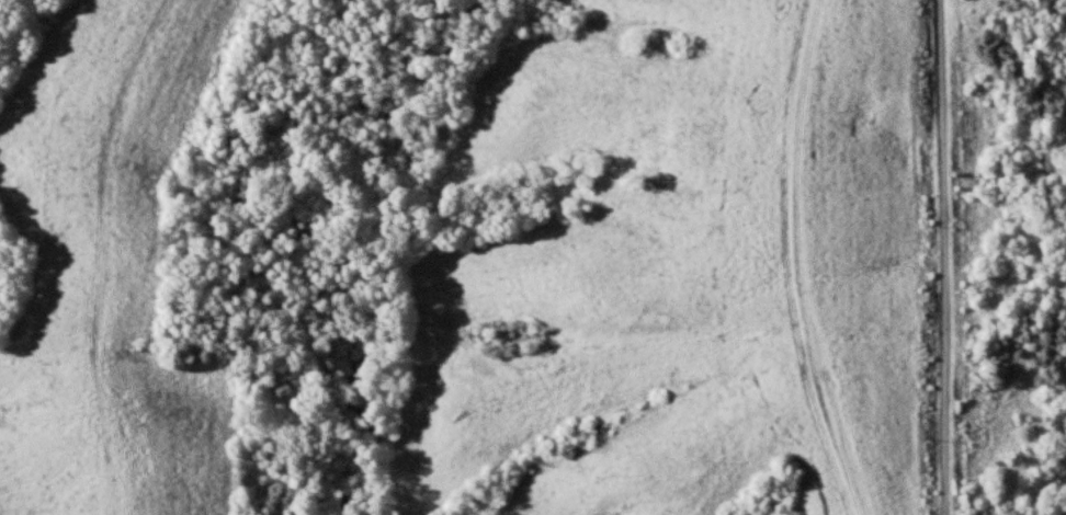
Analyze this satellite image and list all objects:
road: (948, 256)
road: (802, 261)

